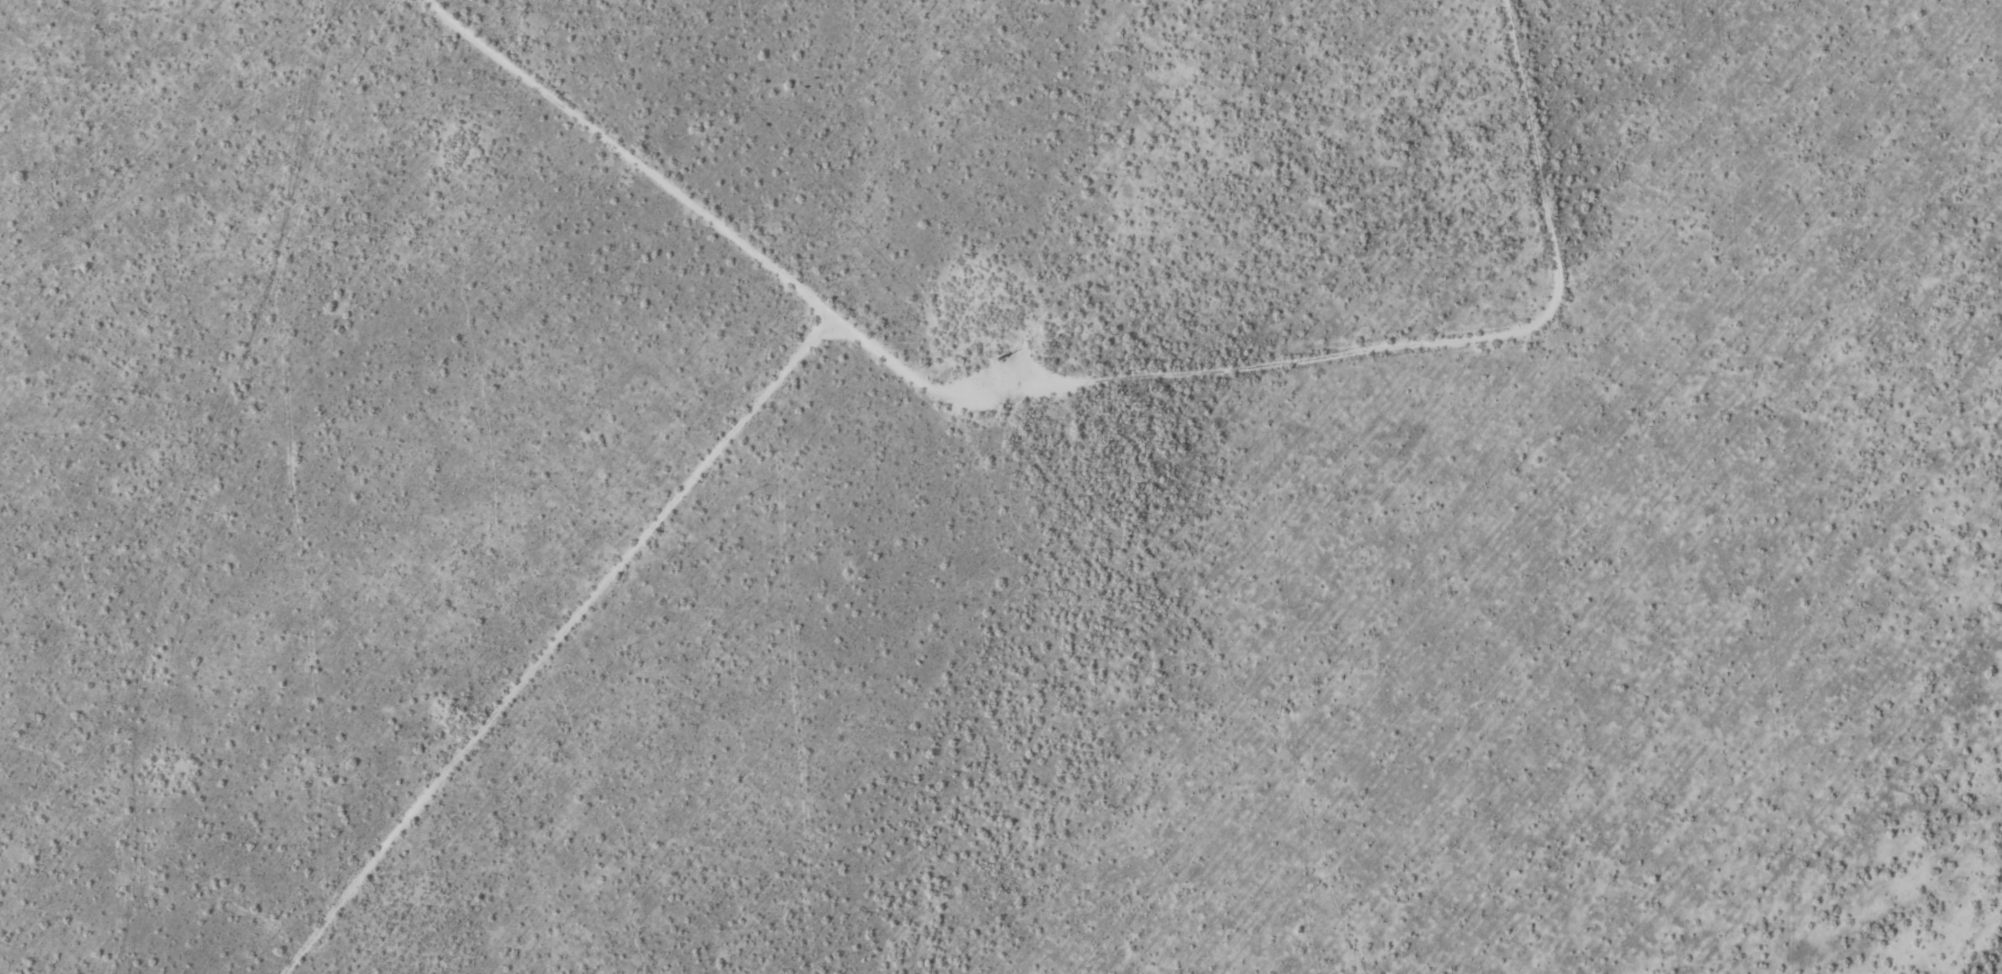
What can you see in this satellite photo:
road: (542, 78)

